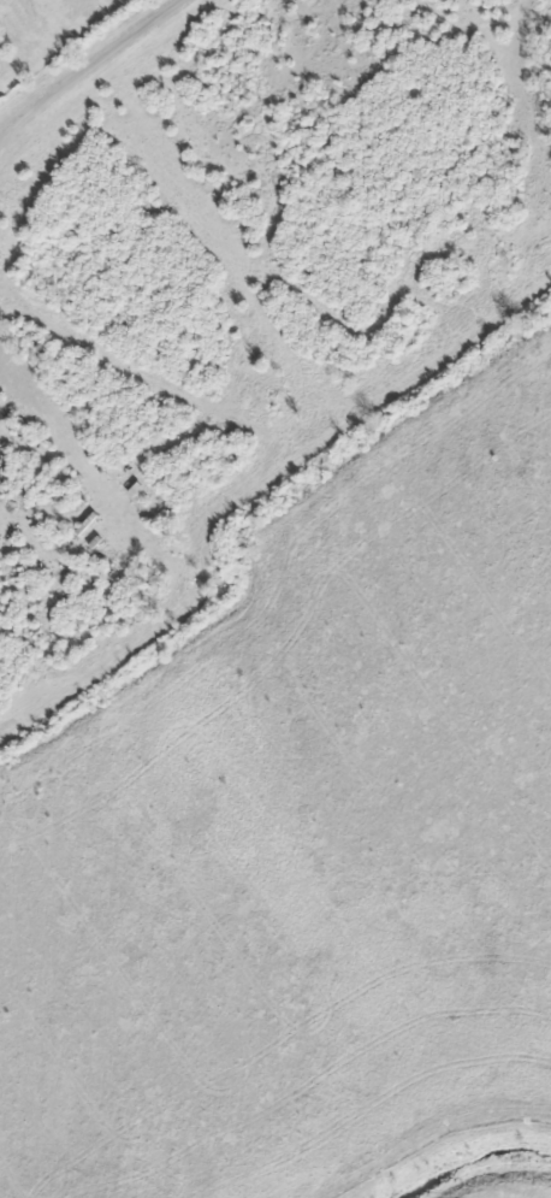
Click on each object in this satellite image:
road: (91, 66)
road: (421, 1135)

